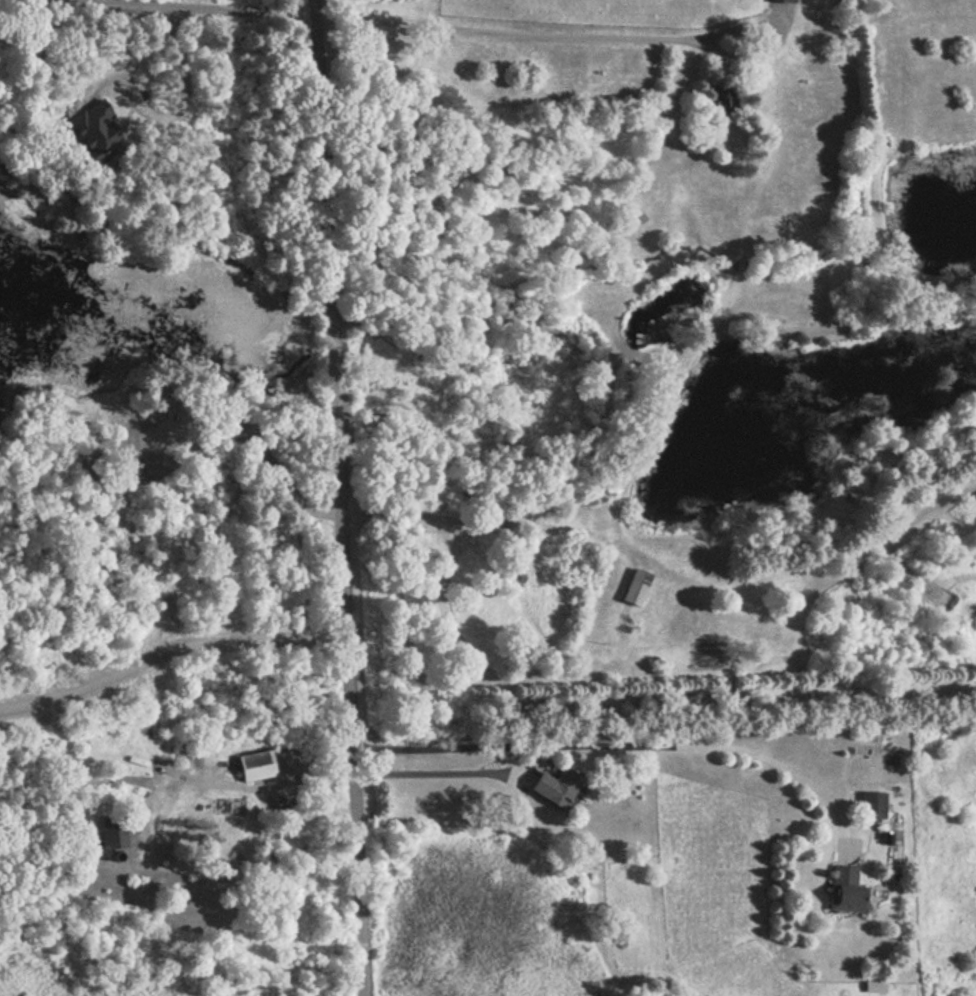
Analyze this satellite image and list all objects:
building: (781, 1)
road: (160, 9)
road: (597, 39)
road: (180, 118)
road: (336, 497)
building: (634, 586)
road: (168, 649)
road: (623, 744)
road: (439, 766)
building: (257, 769)
building: (550, 783)
building: (872, 804)
building: (846, 889)

